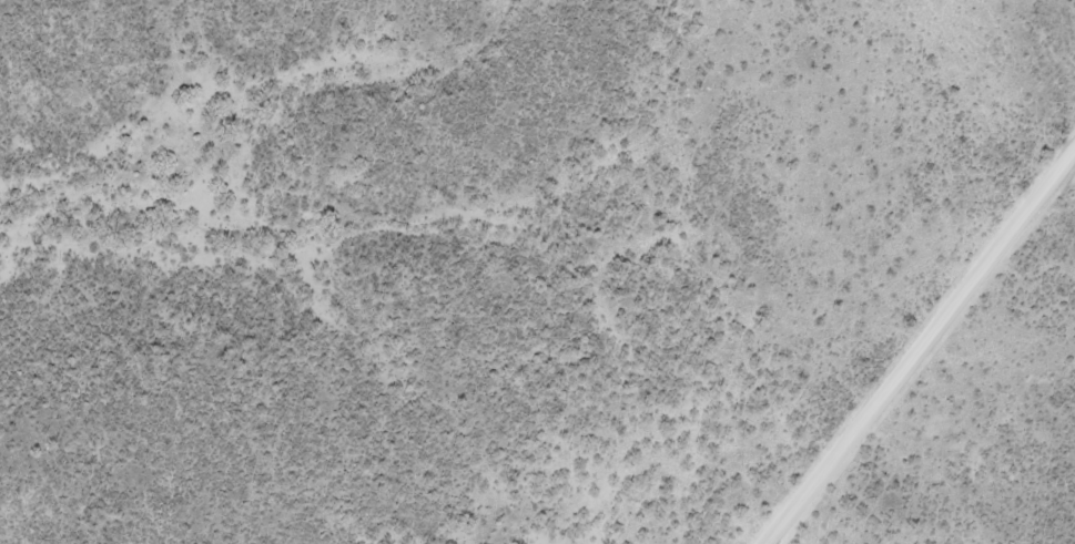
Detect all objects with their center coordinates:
road: (919, 345)

